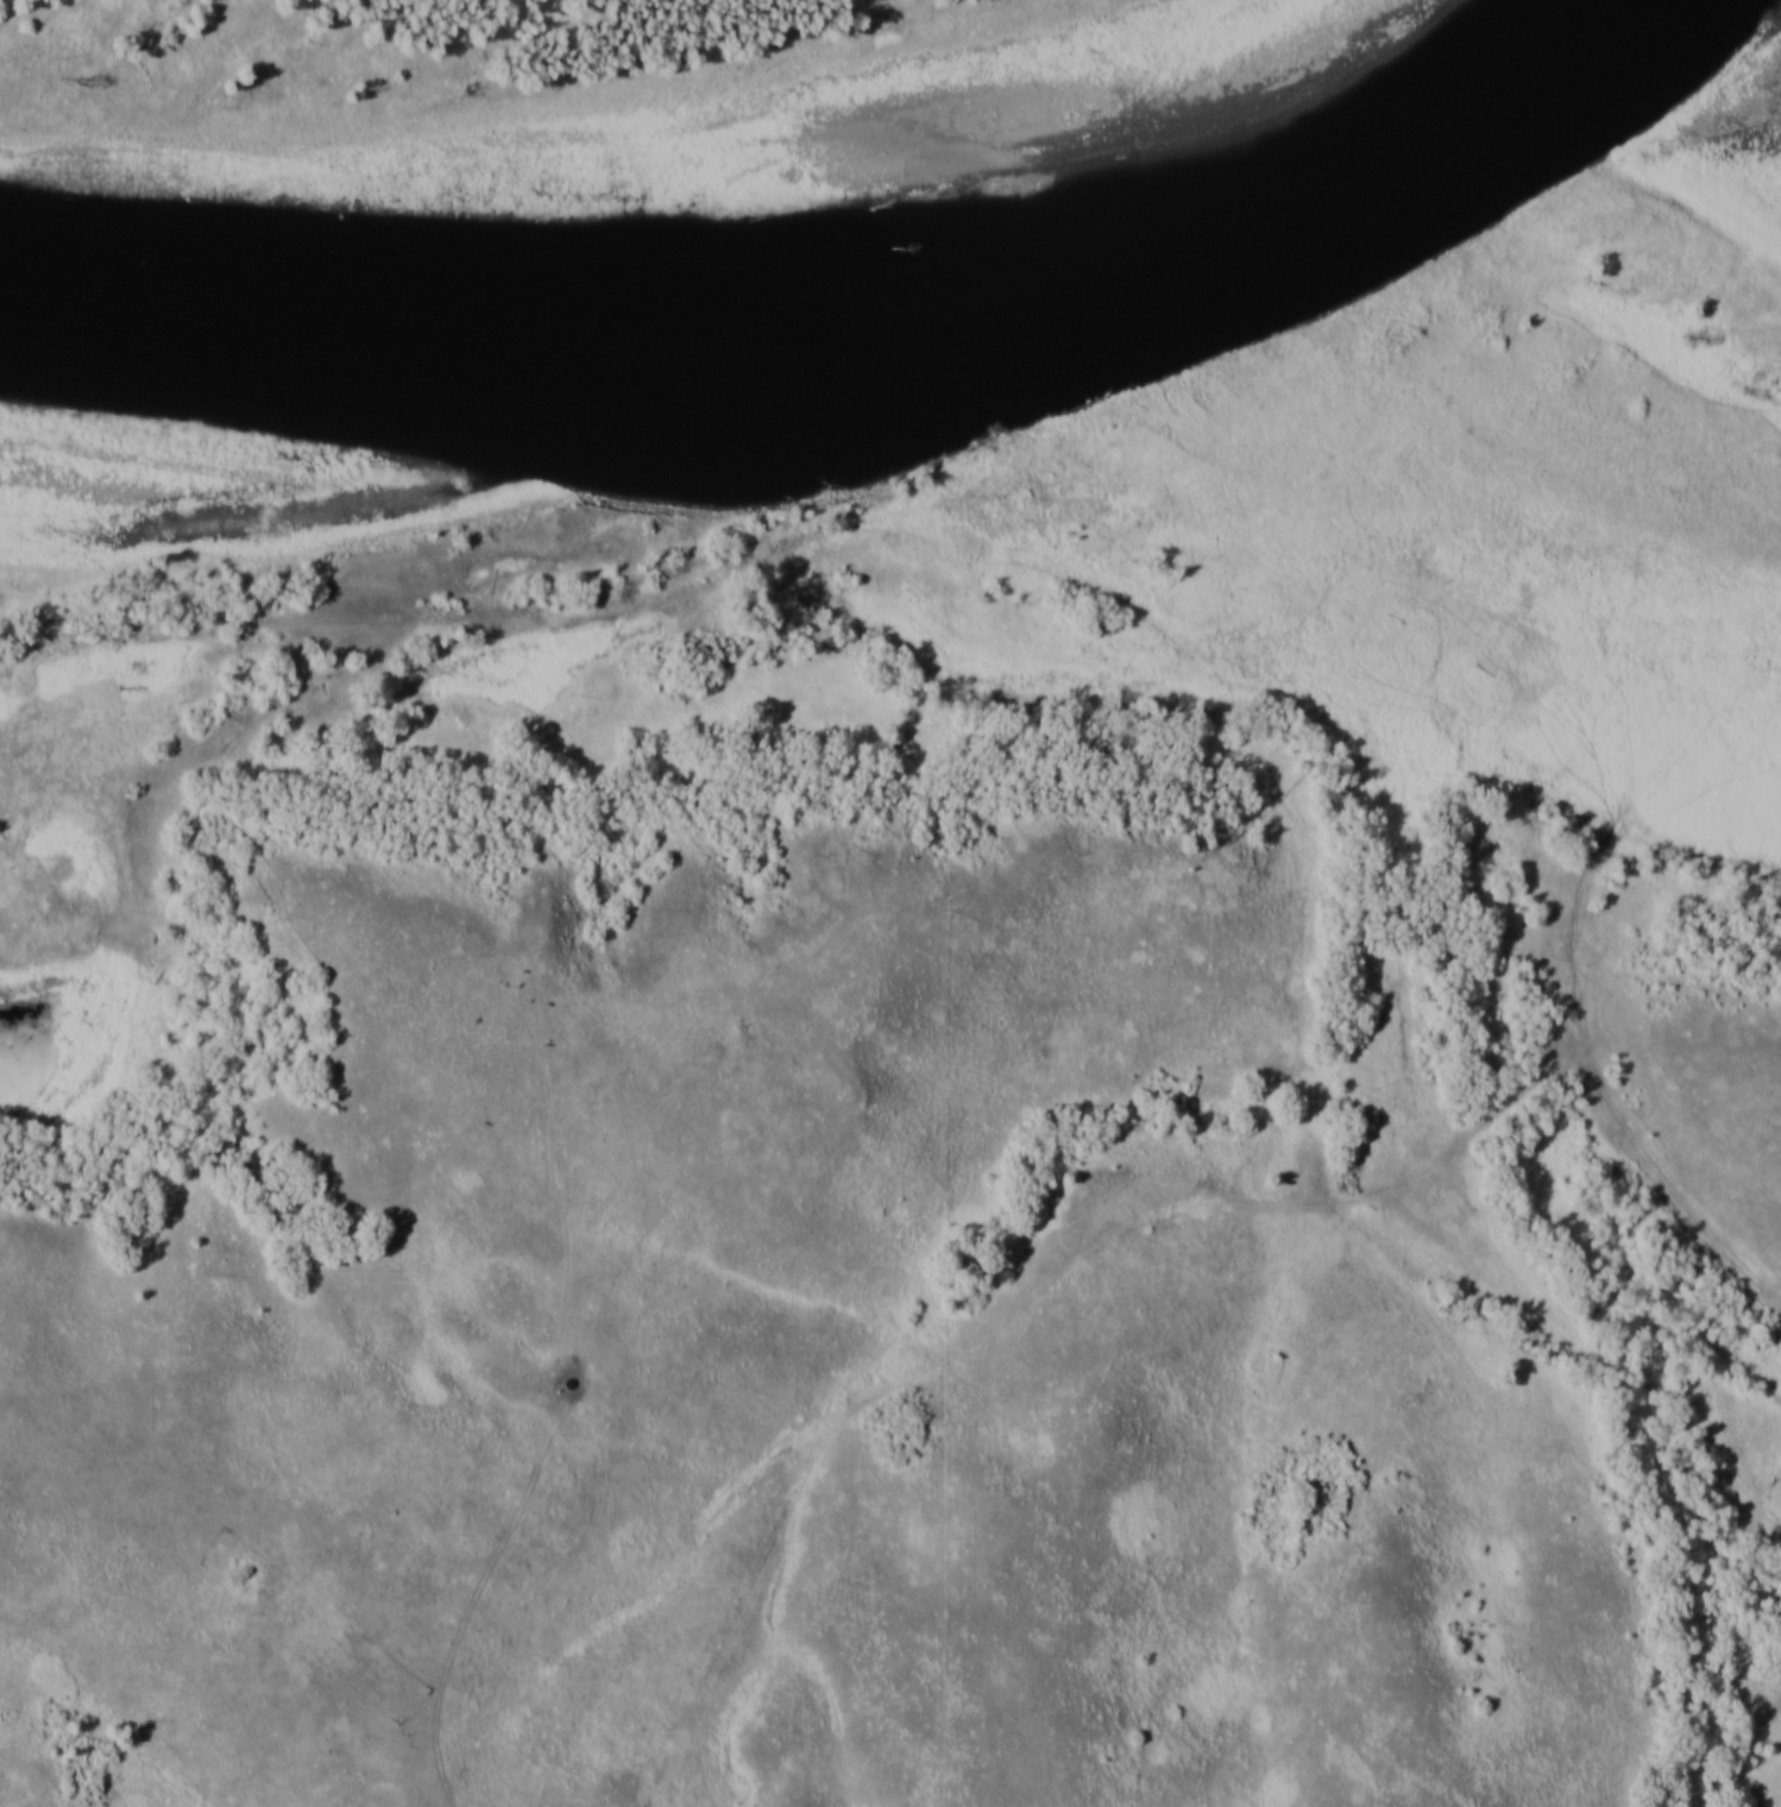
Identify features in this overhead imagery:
river: (820, 311)

